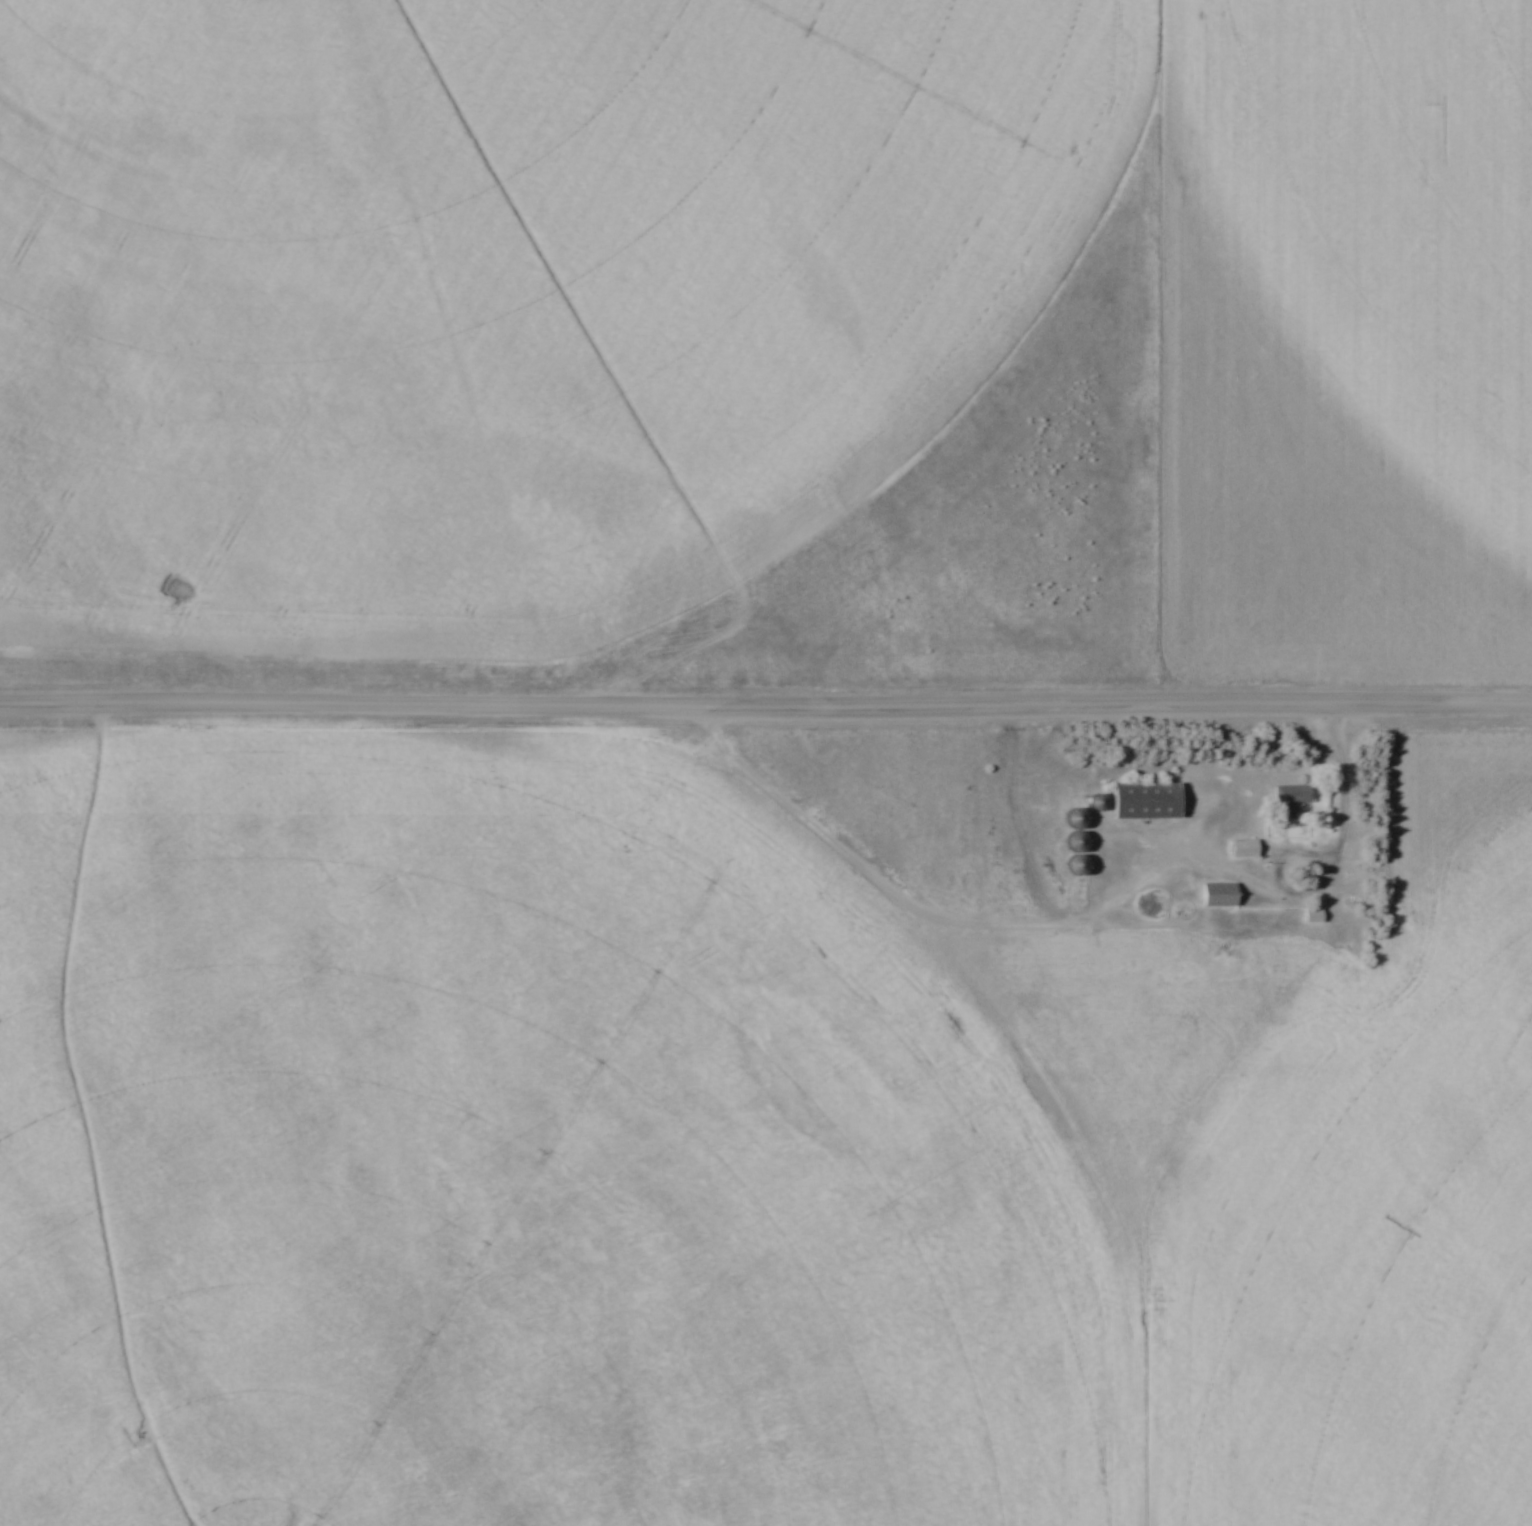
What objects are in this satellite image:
road: (766, 703)
road: (1346, 780)
building: (1149, 801)
building: (1290, 802)
building: (1080, 842)
building: (1246, 849)
road: (1280, 870)
building: (1222, 895)
building: (1315, 916)

